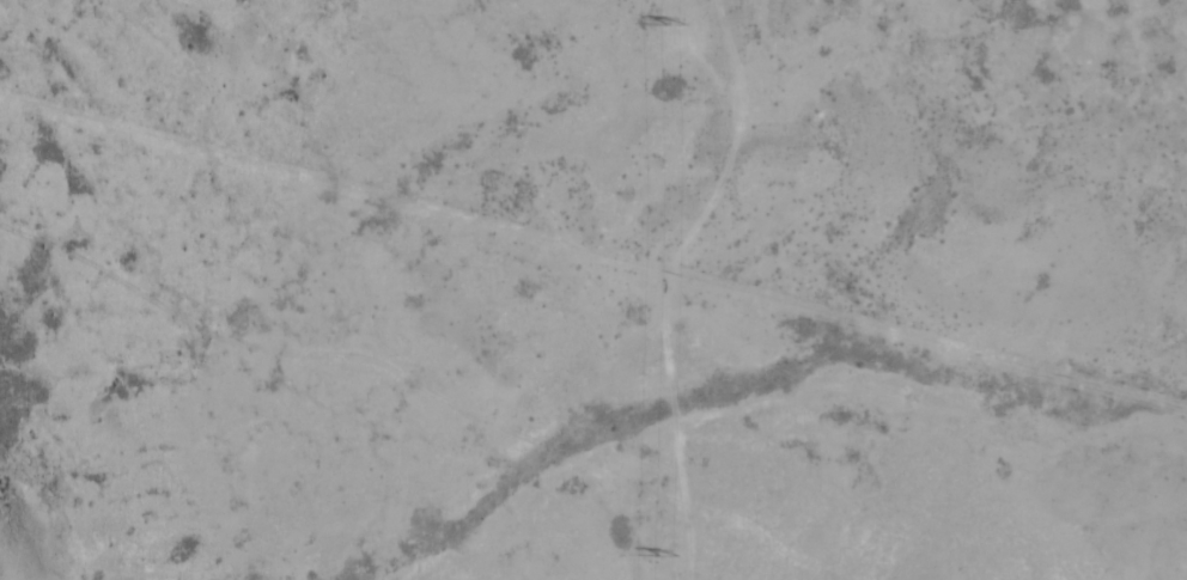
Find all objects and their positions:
power tower: (675, 24)
power tower: (674, 555)

